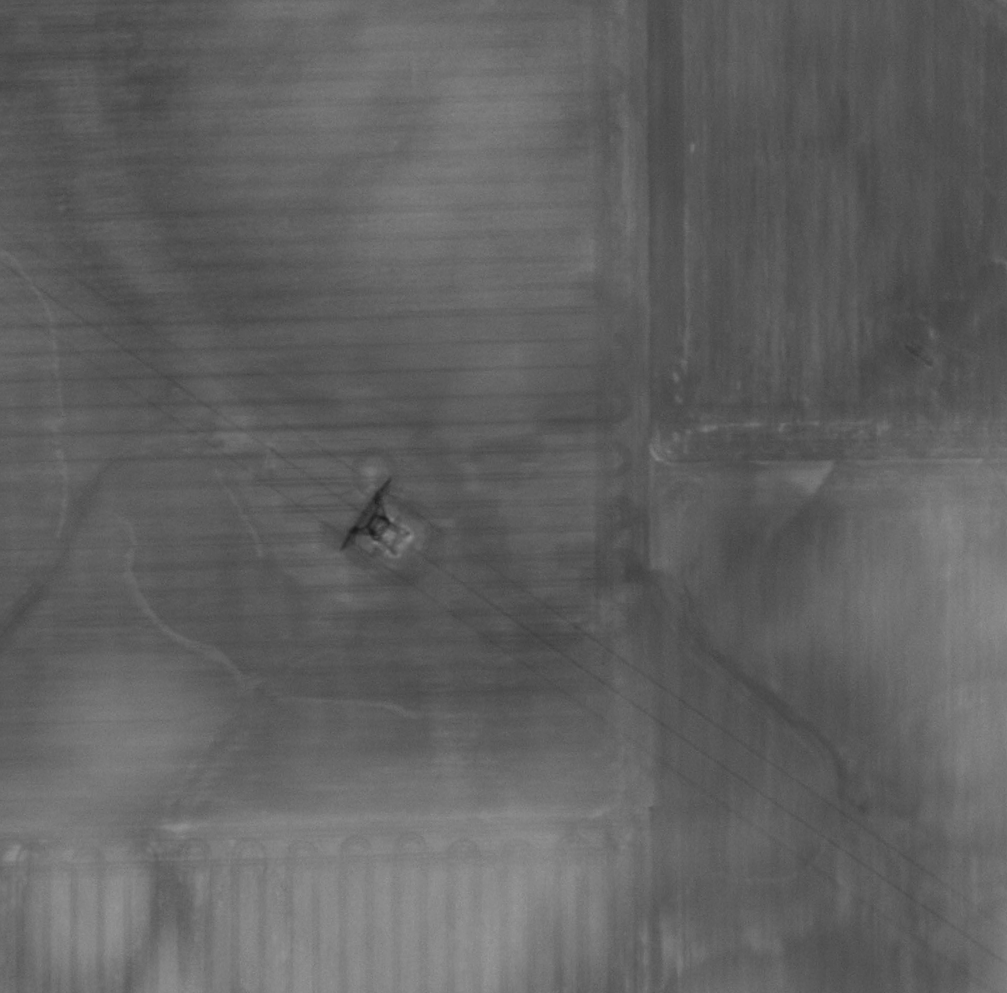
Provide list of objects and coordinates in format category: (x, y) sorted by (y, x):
power tower: (399, 543)

